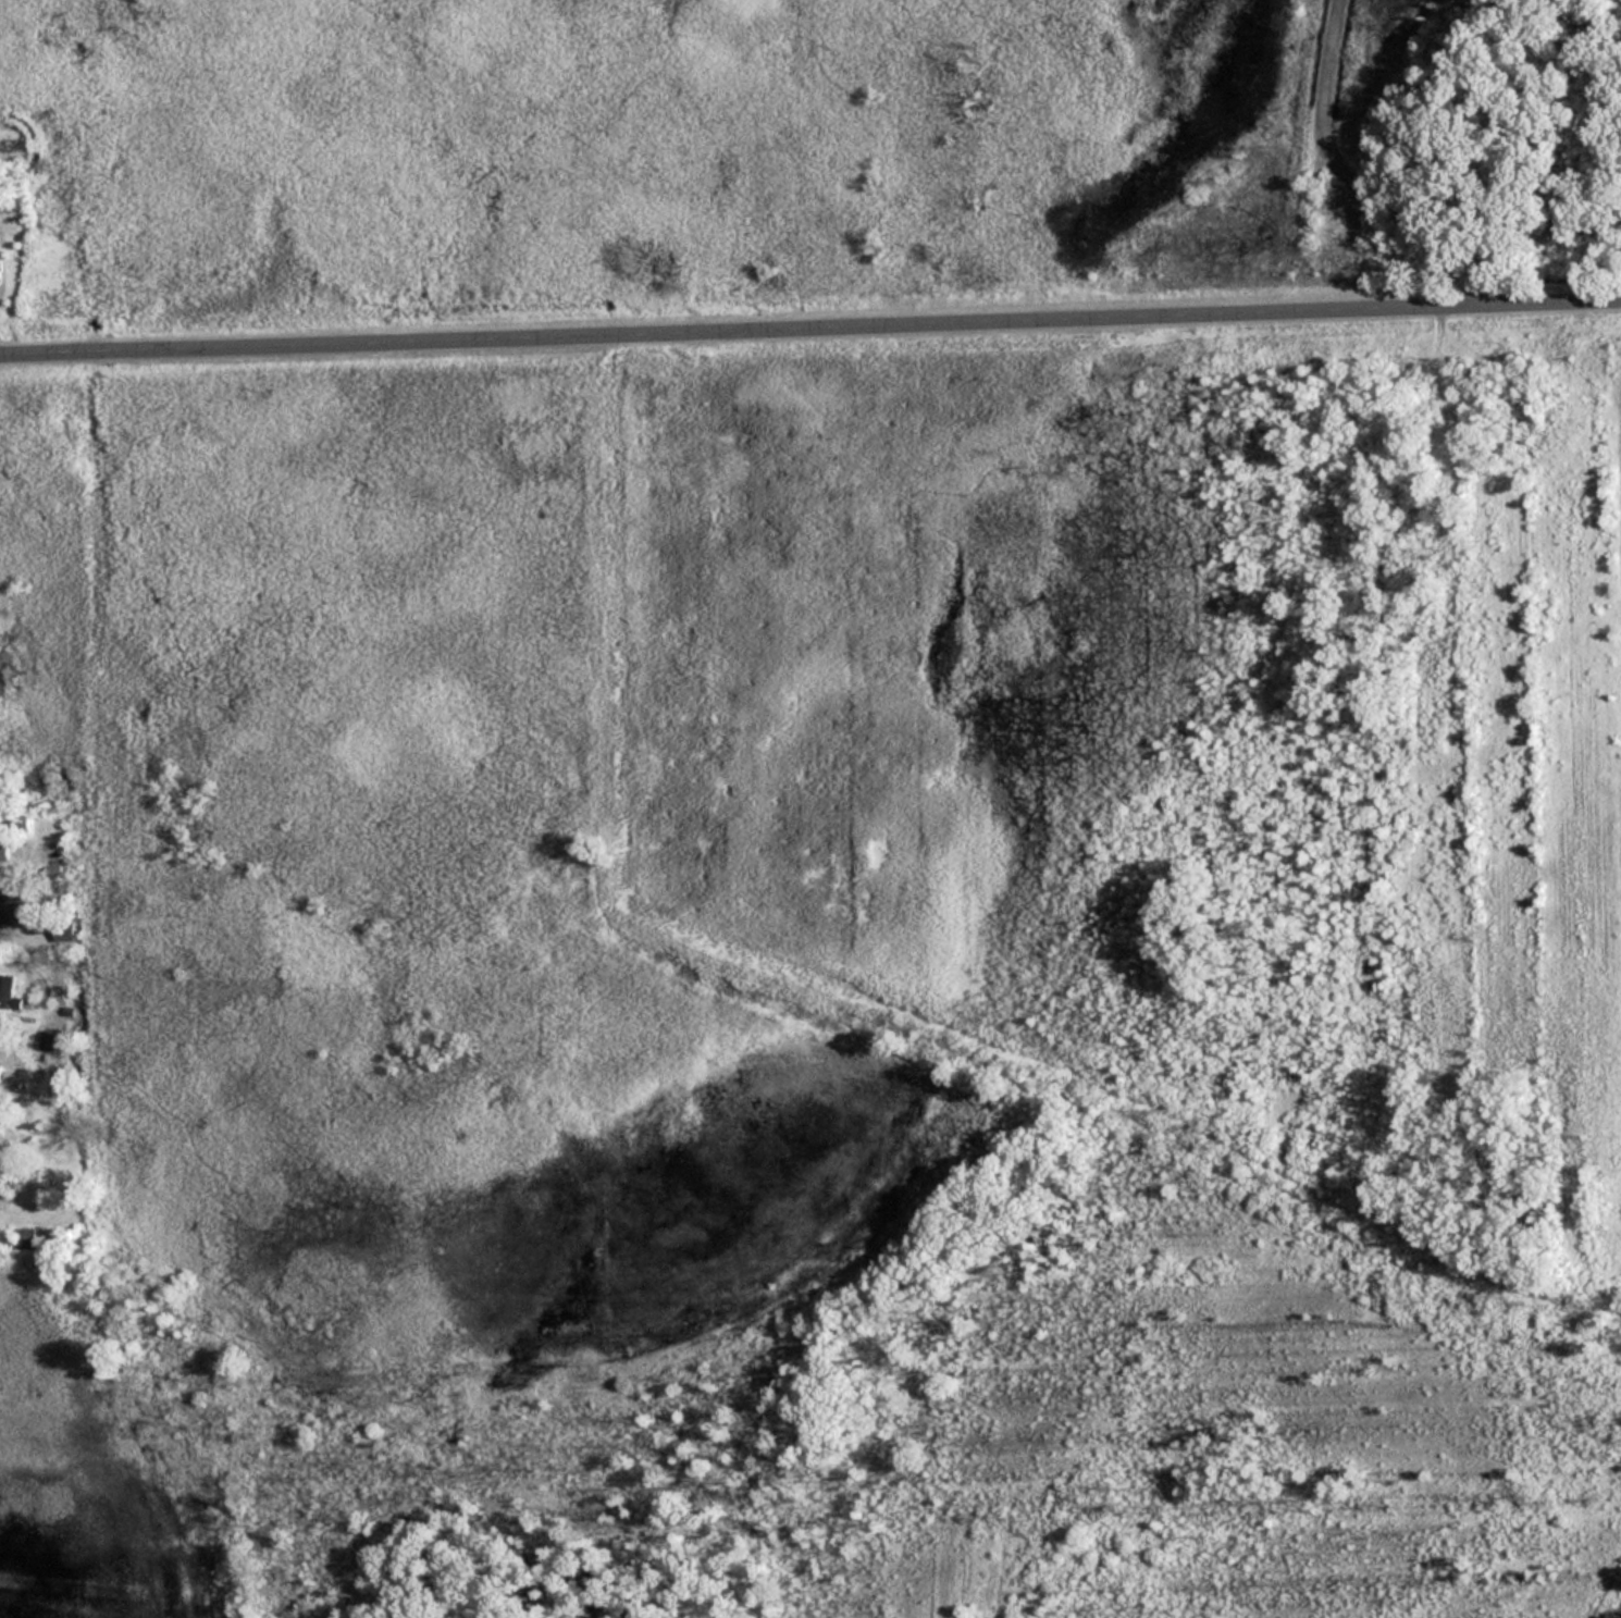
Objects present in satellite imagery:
road: (1350, 182)
road: (811, 326)
building: (13, 913)
building: (64, 931)
building: (5, 991)
building: (49, 1040)
building: (23, 1238)

